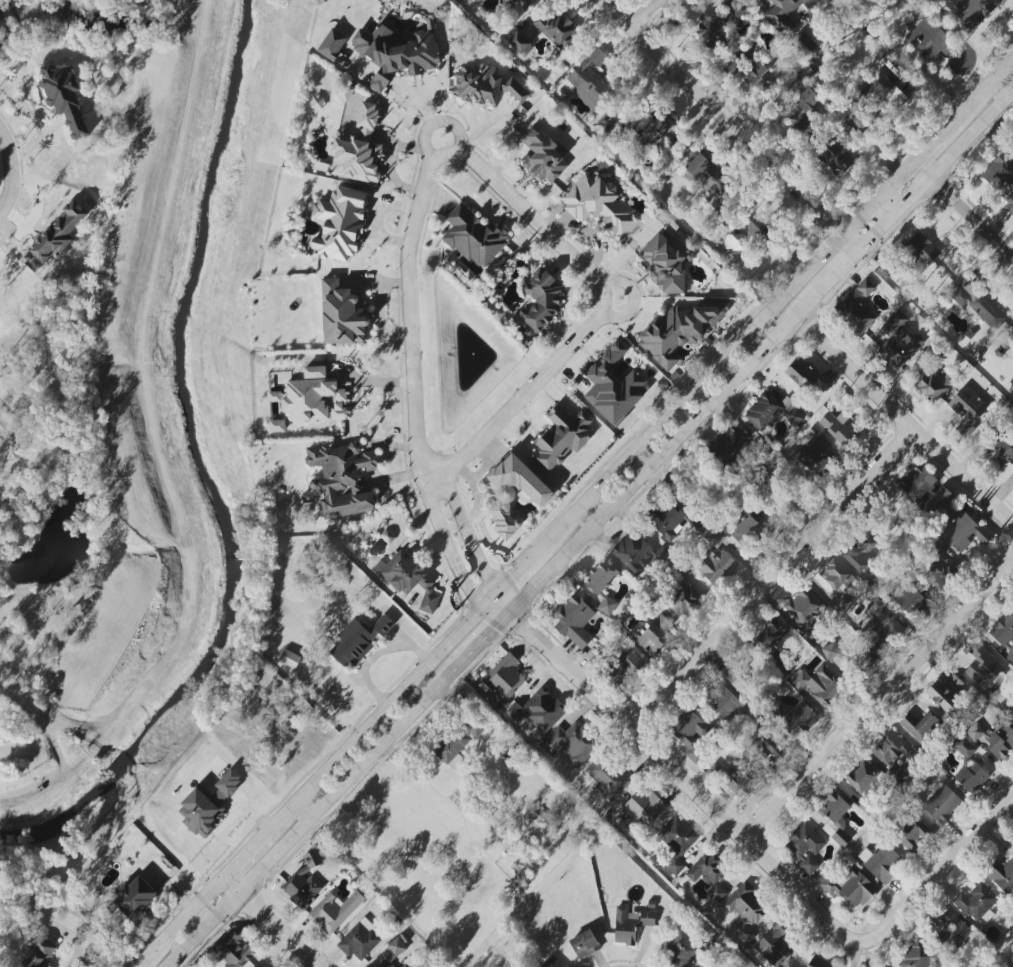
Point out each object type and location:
building: (513, 0)
building: (975, 11)
road: (649, 15)
building: (734, 15)
building: (791, 24)
building: (557, 28)
building: (930, 38)
building: (520, 43)
building: (332, 44)
building: (395, 54)
building: (730, 54)
building: (591, 81)
building: (486, 85)
building: (887, 90)
building: (64, 97)
building: (317, 102)
building: (805, 114)
road: (731, 123)
building: (650, 126)
building: (856, 126)
building: (358, 149)
building: (543, 156)
building: (839, 158)
road: (8, 172)
building: (1001, 178)
building: (713, 181)
road: (905, 201)
building: (601, 206)
road: (963, 206)
road: (534, 216)
building: (339, 223)
building: (57, 236)
building: (474, 237)
building: (920, 251)
building: (667, 263)
building: (542, 301)
building: (978, 304)
building: (857, 307)
road: (408, 312)
building: (342, 314)
building: (680, 332)
building: (1011, 335)
building: (898, 341)
building: (806, 377)
building: (615, 382)
building: (930, 383)
road: (527, 396)
building: (312, 397)
building: (967, 408)
building: (771, 411)
road: (905, 419)
building: (277, 426)
building: (836, 427)
building: (562, 437)
building: (732, 444)
building: (814, 453)
building: (1002, 454)
river: (205, 472)
building: (343, 478)
building: (918, 483)
building: (511, 492)
building: (939, 500)
road: (573, 512)
building: (675, 520)
building: (964, 531)
building: (747, 533)
road: (472, 545)
building: (639, 553)
building: (859, 553)
road: (455, 558)
building: (715, 559)
road: (772, 573)
building: (940, 573)
building: (835, 574)
building: (408, 578)
building: (602, 585)
building: (911, 599)
building: (685, 601)
building: (842, 603)
building: (806, 612)
building: (573, 620)
building: (880, 626)
building: (1003, 631)
building: (656, 634)
road: (482, 638)
building: (358, 640)
building: (776, 643)
building: (290, 657)
building: (982, 666)
building: (625, 669)
building: (733, 677)
building: (819, 684)
building: (945, 694)
road: (880, 699)
building: (721, 700)
building: (538, 711)
building: (796, 720)
building: (918, 724)
building: (975, 732)
building: (690, 733)
building: (1000, 739)
building: (458, 743)
building: (570, 743)
building: (769, 744)
building: (964, 748)
building: (891, 755)
road: (687, 776)
building: (862, 777)
building: (972, 777)
building: (606, 778)
building: (739, 779)
building: (208, 804)
building: (942, 804)
building: (643, 808)
building: (836, 819)
building: (913, 832)
building: (1011, 840)
building: (677, 842)
building: (805, 847)
building: (312, 859)
building: (881, 862)
building: (709, 874)
building: (1001, 875)
road: (941, 878)
building: (849, 886)
building: (302, 888)
building: (134, 897)
building: (975, 902)
building: (745, 910)
building: (334, 911)
road: (272, 920)
building: (630, 924)
building: (951, 932)
building: (359, 940)
building: (584, 944)
building: (399, 946)
building: (773, 946)
building: (233, 950)
building: (682, 950)
building: (39, 951)
building: (919, 956)
building: (552, 962)
building: (820, 962)
building: (384, 964)
building: (707, 965)
building: (405, 966)

